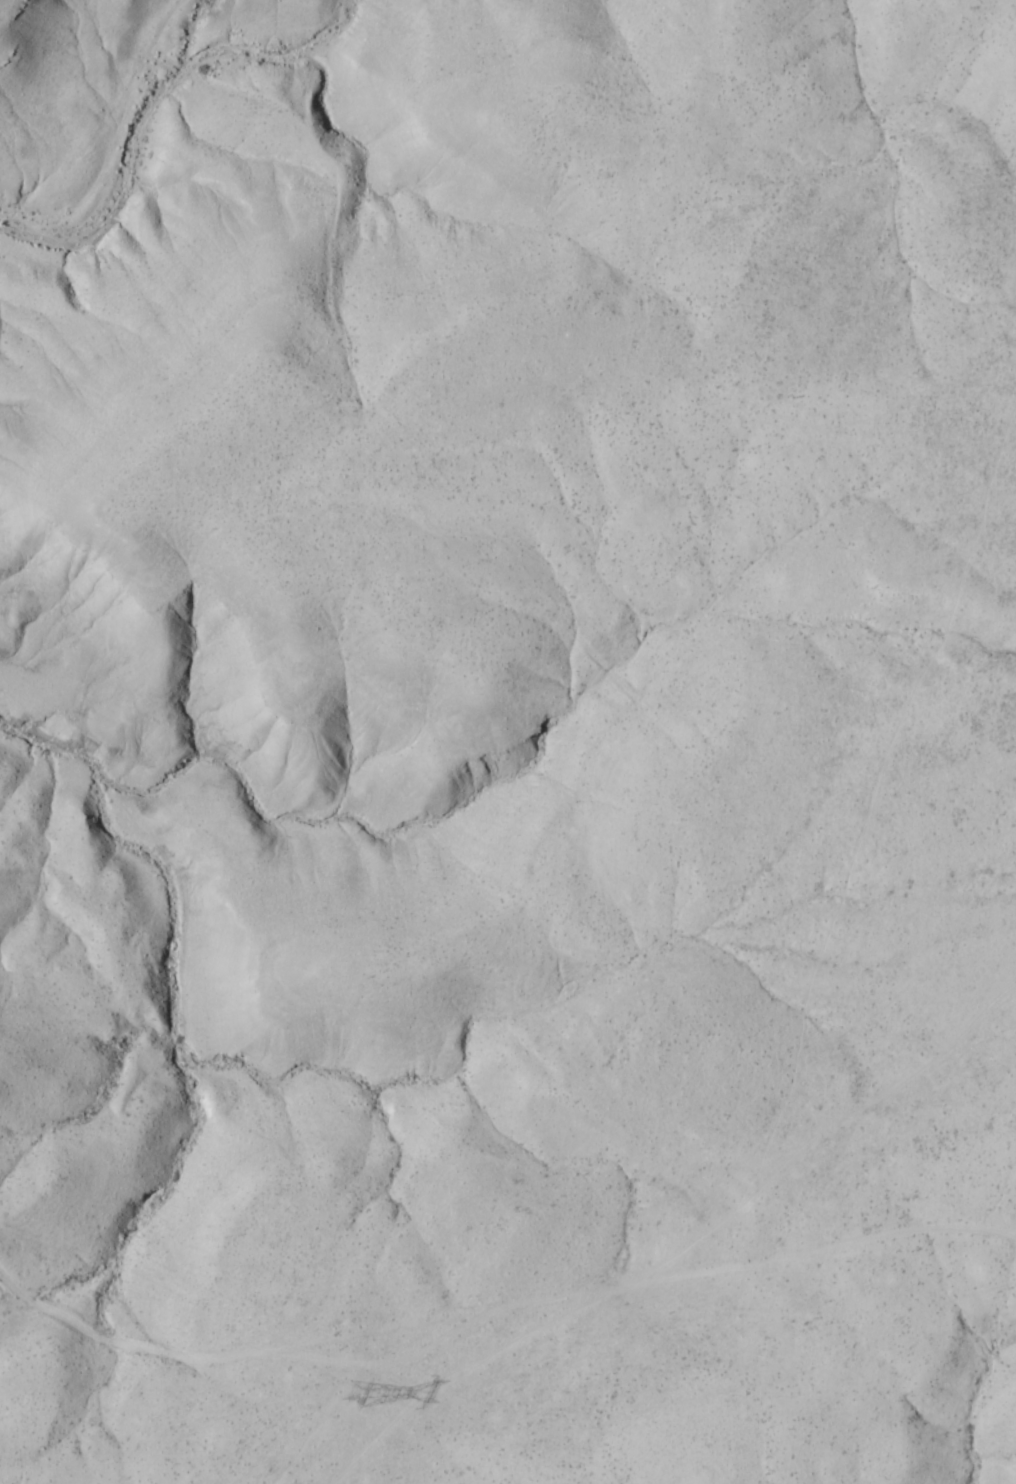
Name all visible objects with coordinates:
power tower: (355, 1383)

